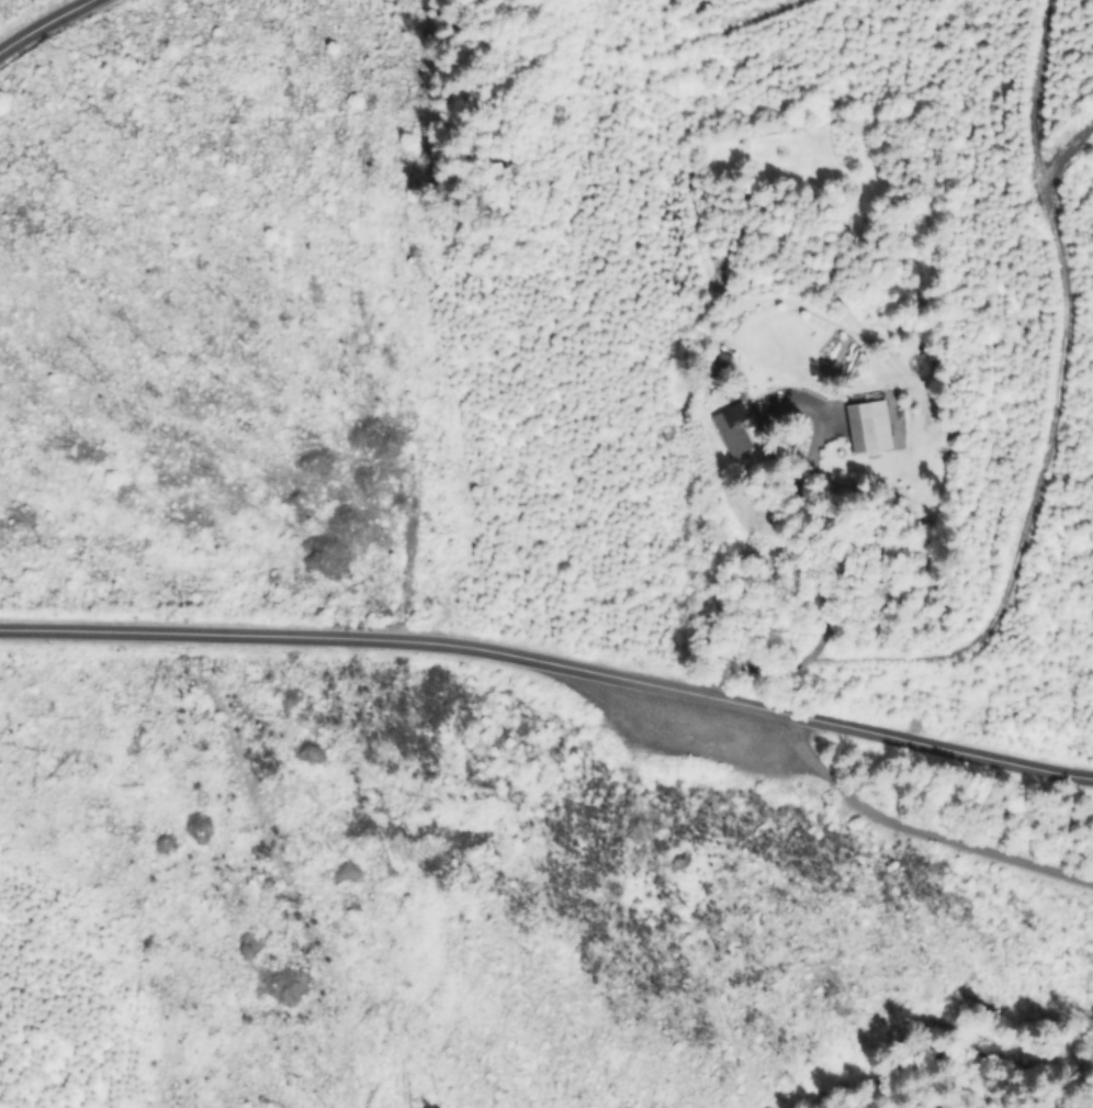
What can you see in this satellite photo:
road: (37, 23)
building: (720, 362)
building: (869, 427)
building: (734, 428)
road: (824, 607)
road: (551, 663)
parking lot: (689, 720)
road: (944, 833)

